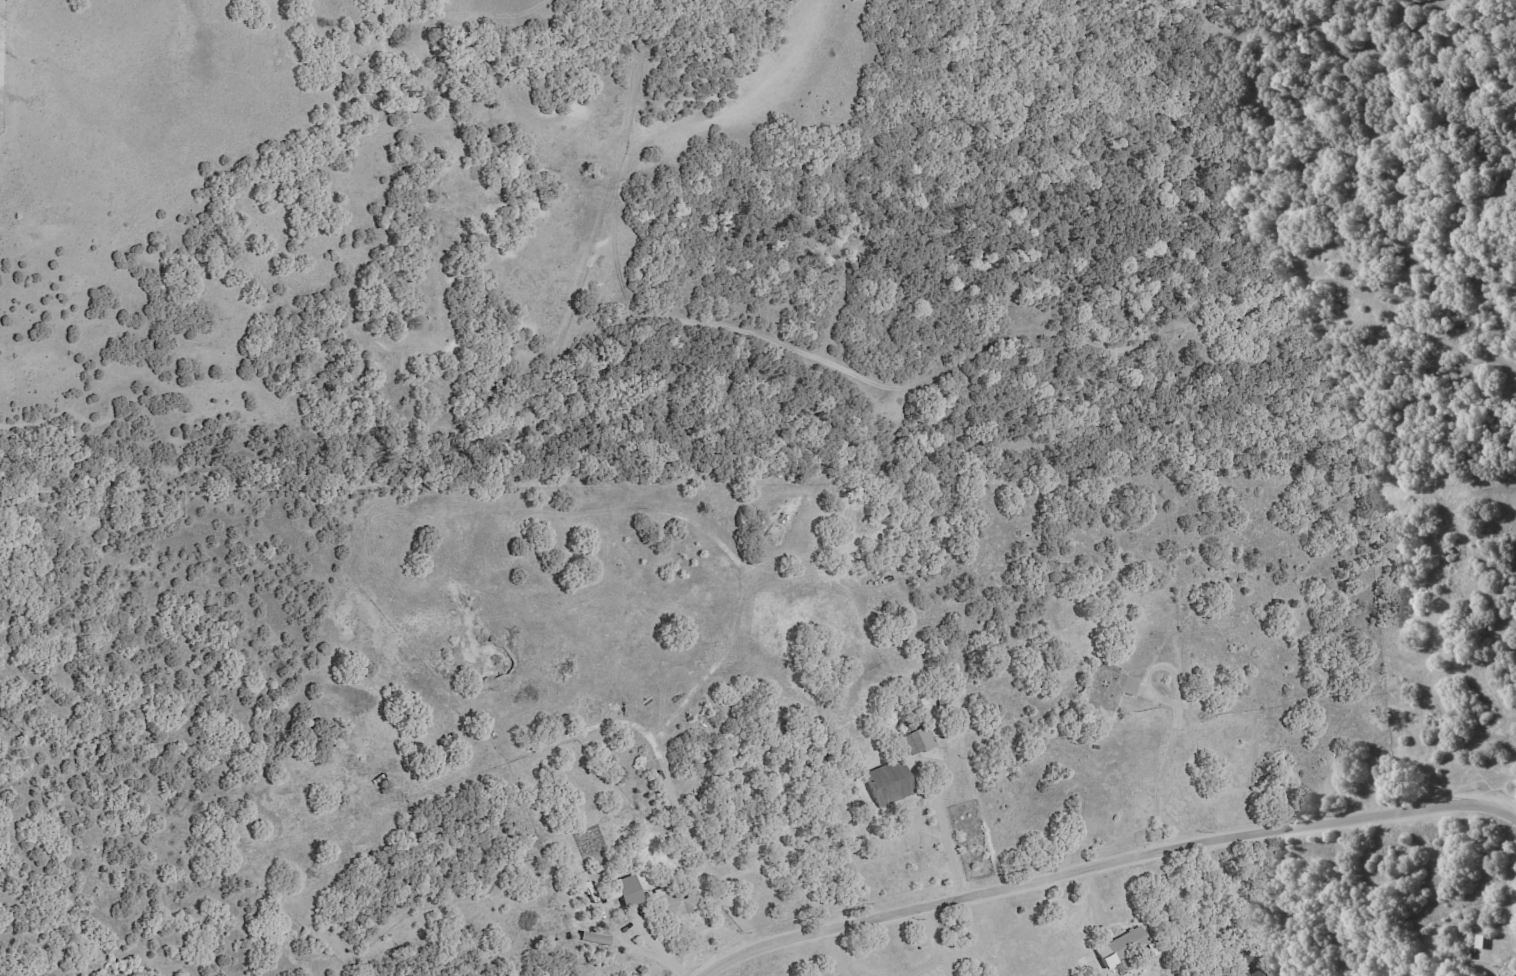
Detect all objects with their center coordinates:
building: (1105, 677)
building: (1126, 684)
road: (1175, 726)
building: (916, 740)
building: (887, 783)
road: (947, 852)
road: (1106, 873)
building: (626, 890)
building: (673, 900)
building: (1120, 946)
road: (945, 952)
road: (840, 957)
building: (1249, 973)
building: (1515, 975)

